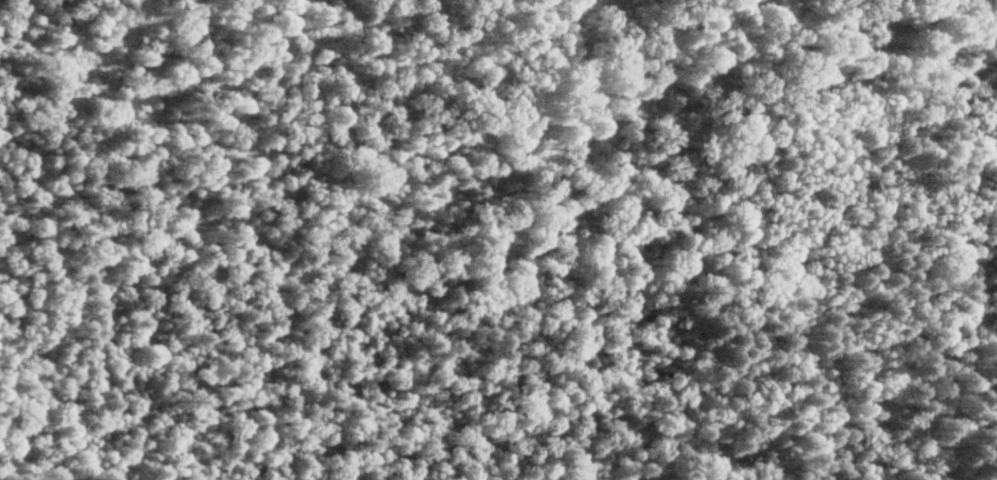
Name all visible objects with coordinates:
road: (856, 38)

